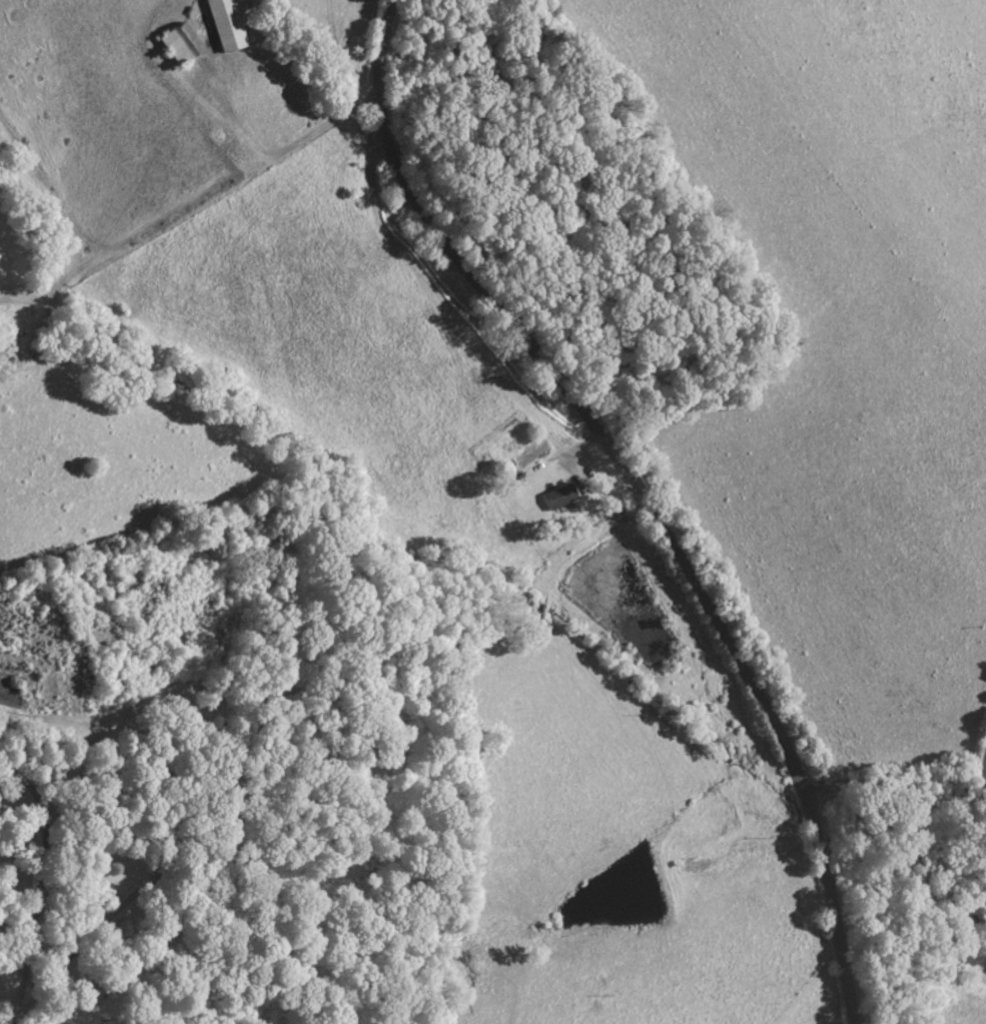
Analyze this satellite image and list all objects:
building: (227, 26)
building: (182, 46)
road: (642, 493)
building: (560, 499)
park: (230, 765)
road: (910, 788)

